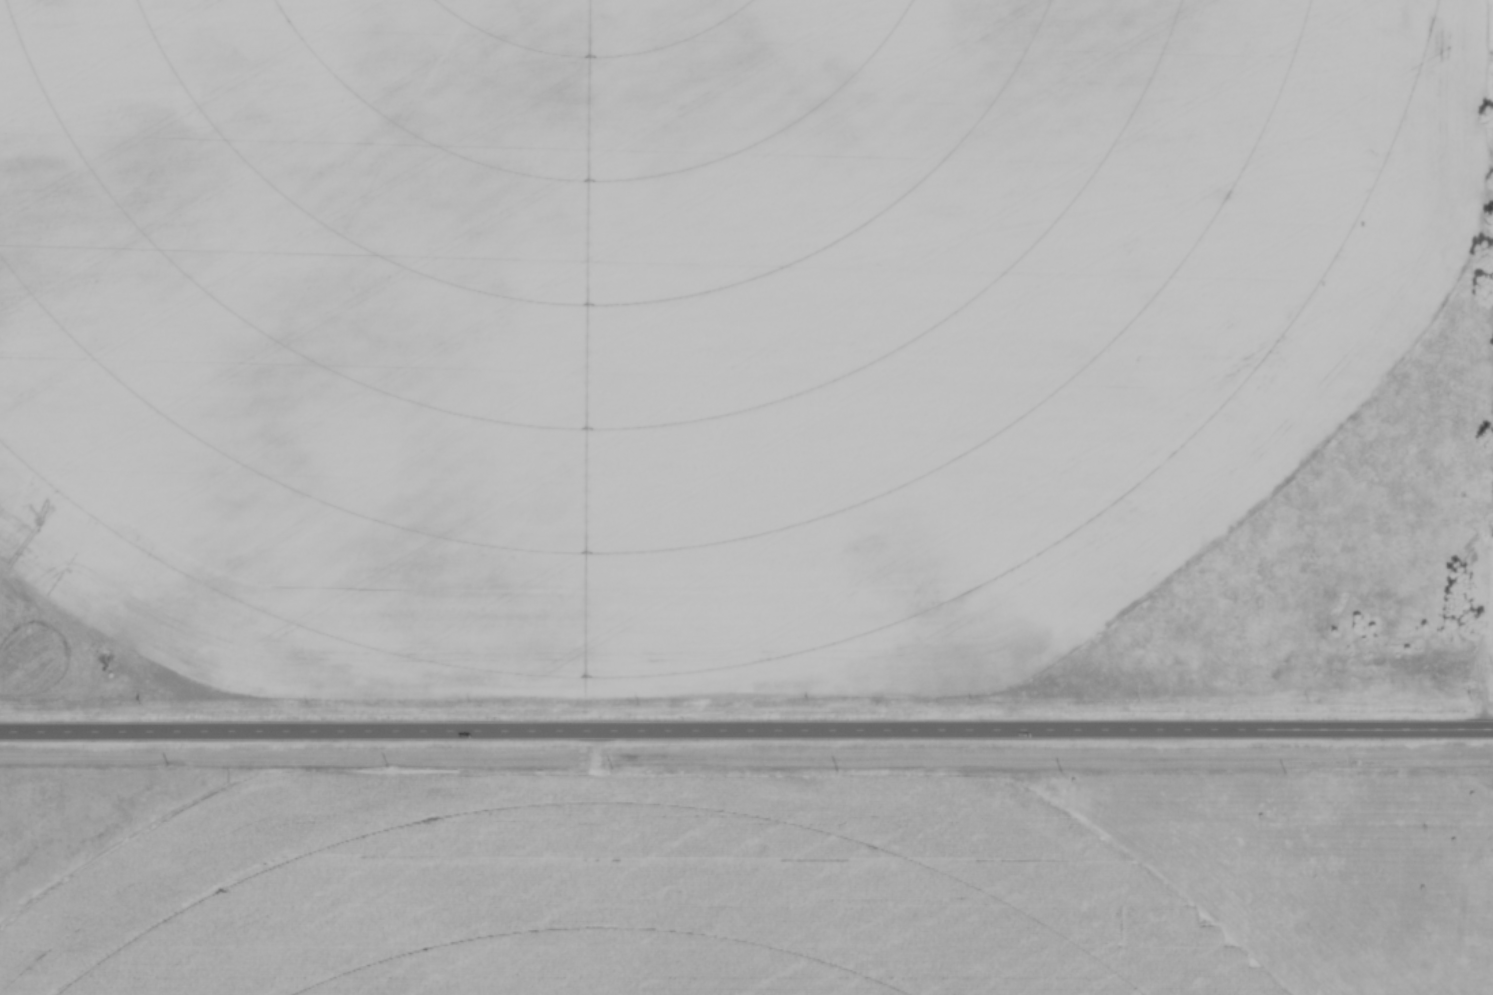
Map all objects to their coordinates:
road: (746, 730)

